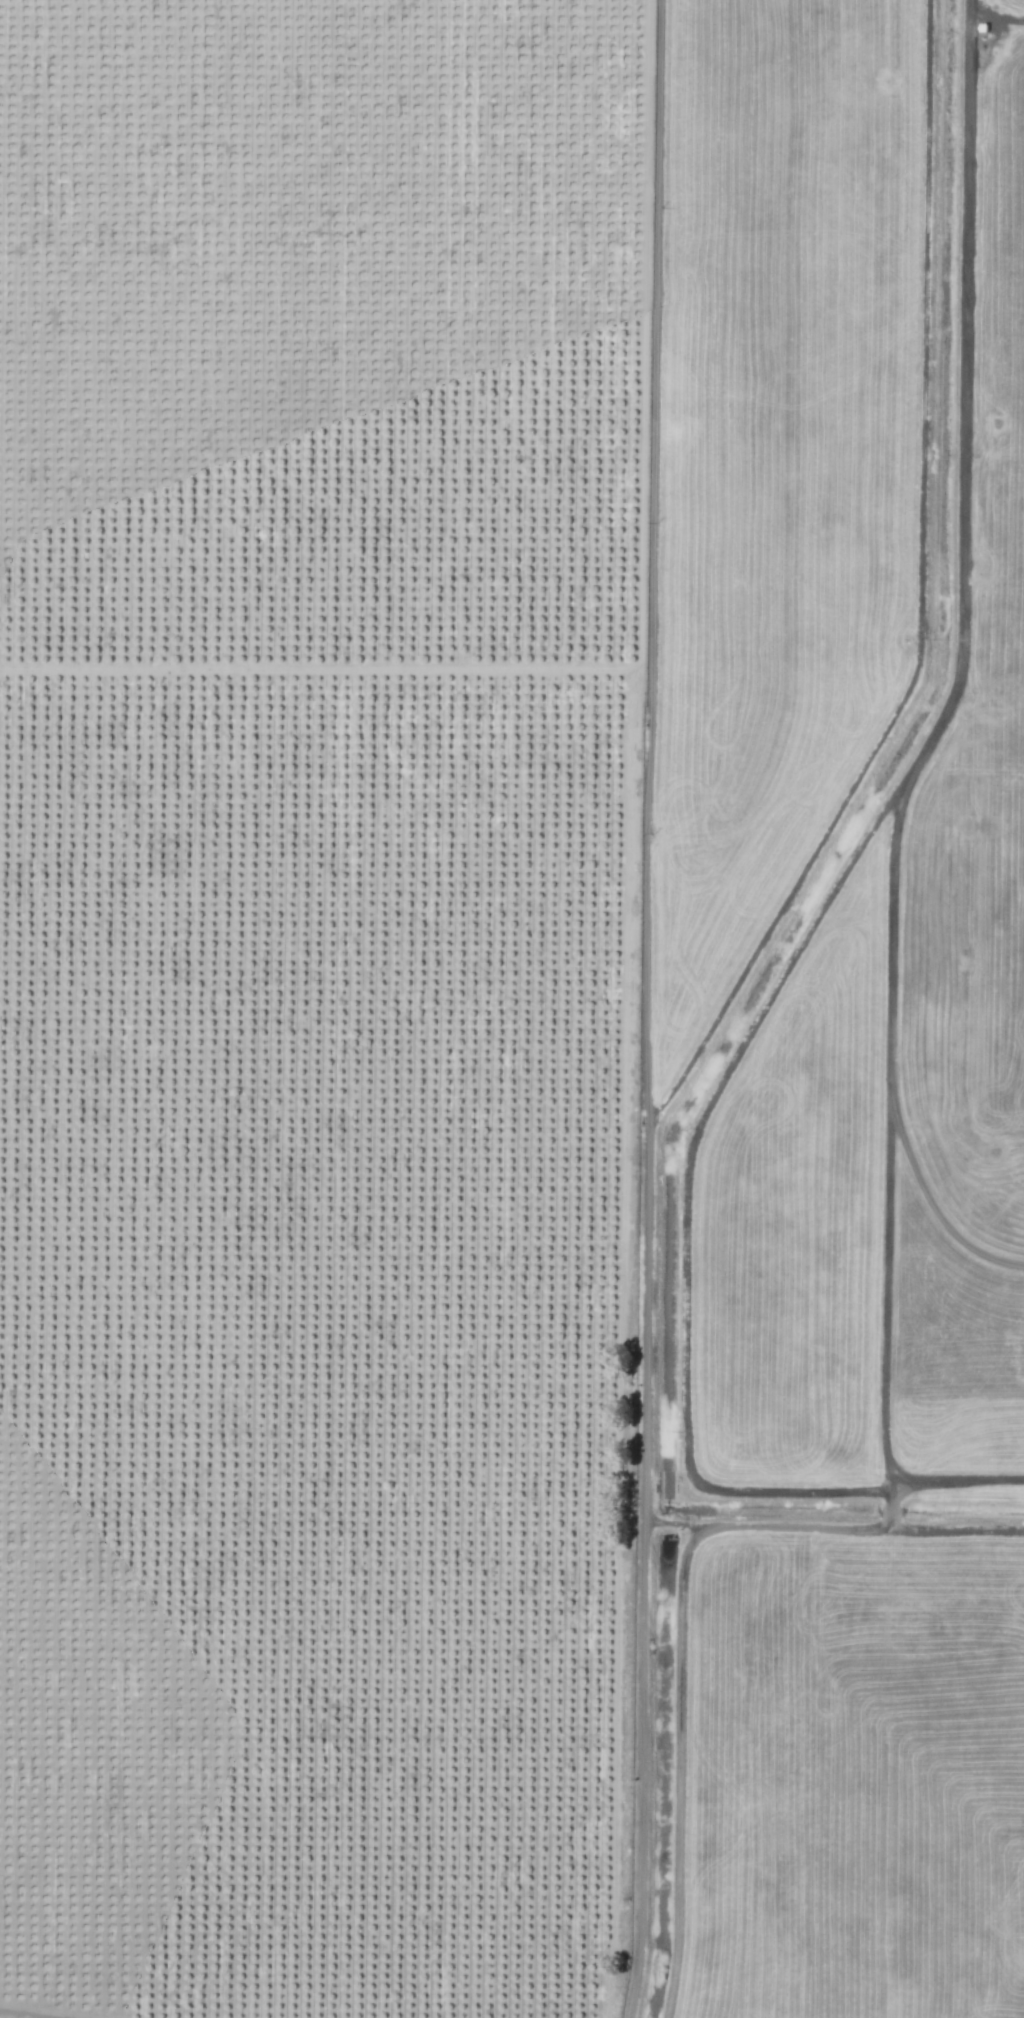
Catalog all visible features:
road: (322, 691)
airport: (829, 1026)

